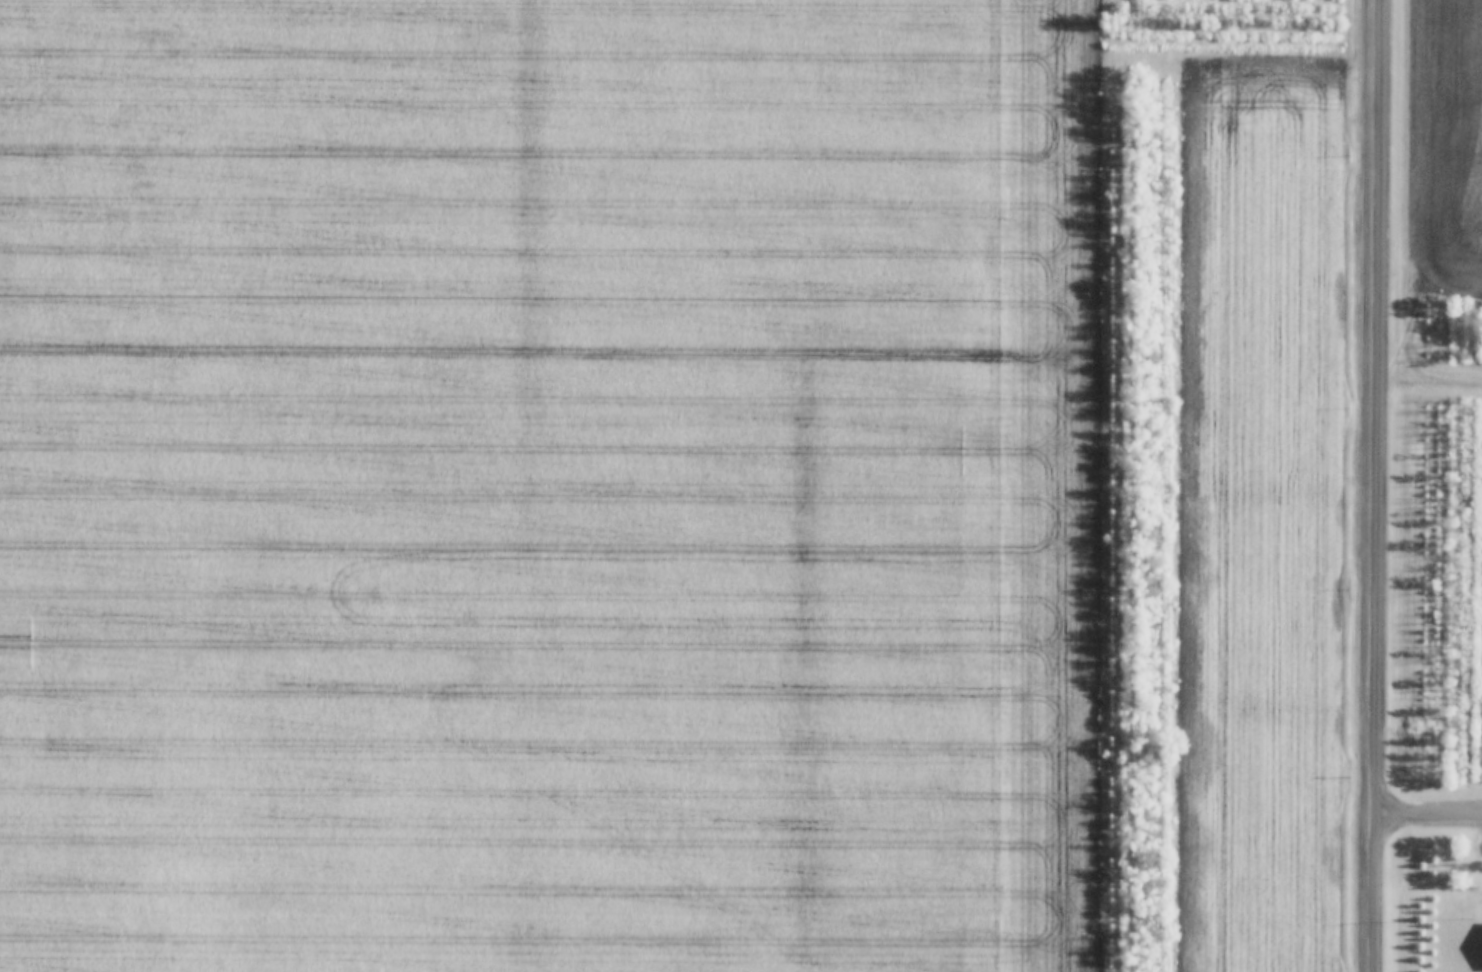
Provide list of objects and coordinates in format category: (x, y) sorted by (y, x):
road: (1382, 486)
road: (1431, 814)

